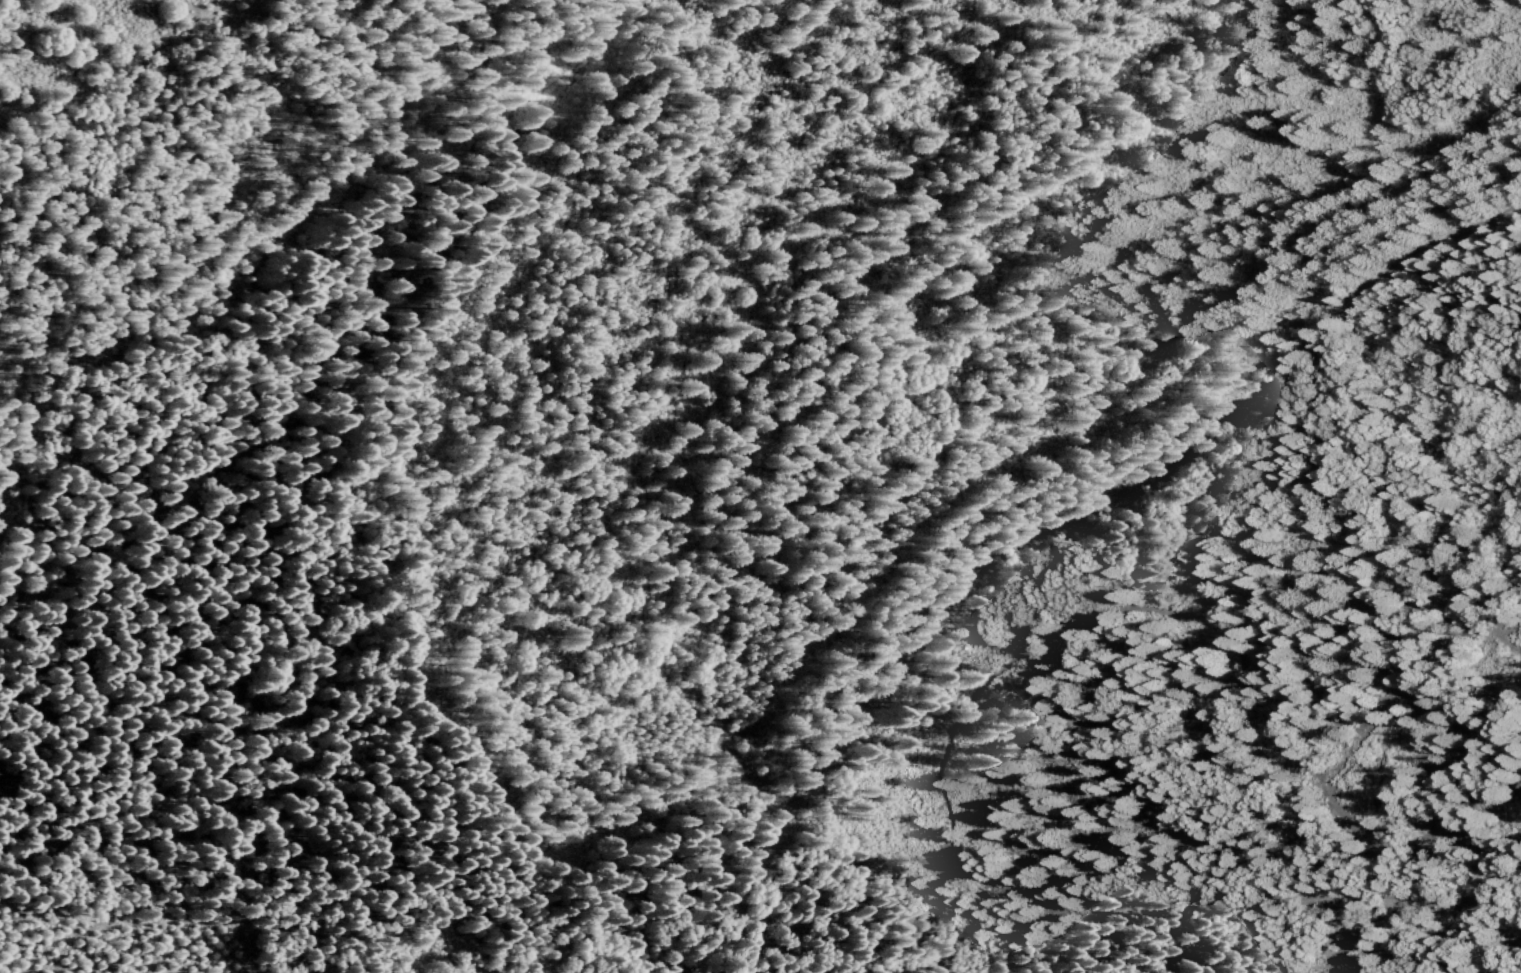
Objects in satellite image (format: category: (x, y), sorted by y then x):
road: (1043, 529)

